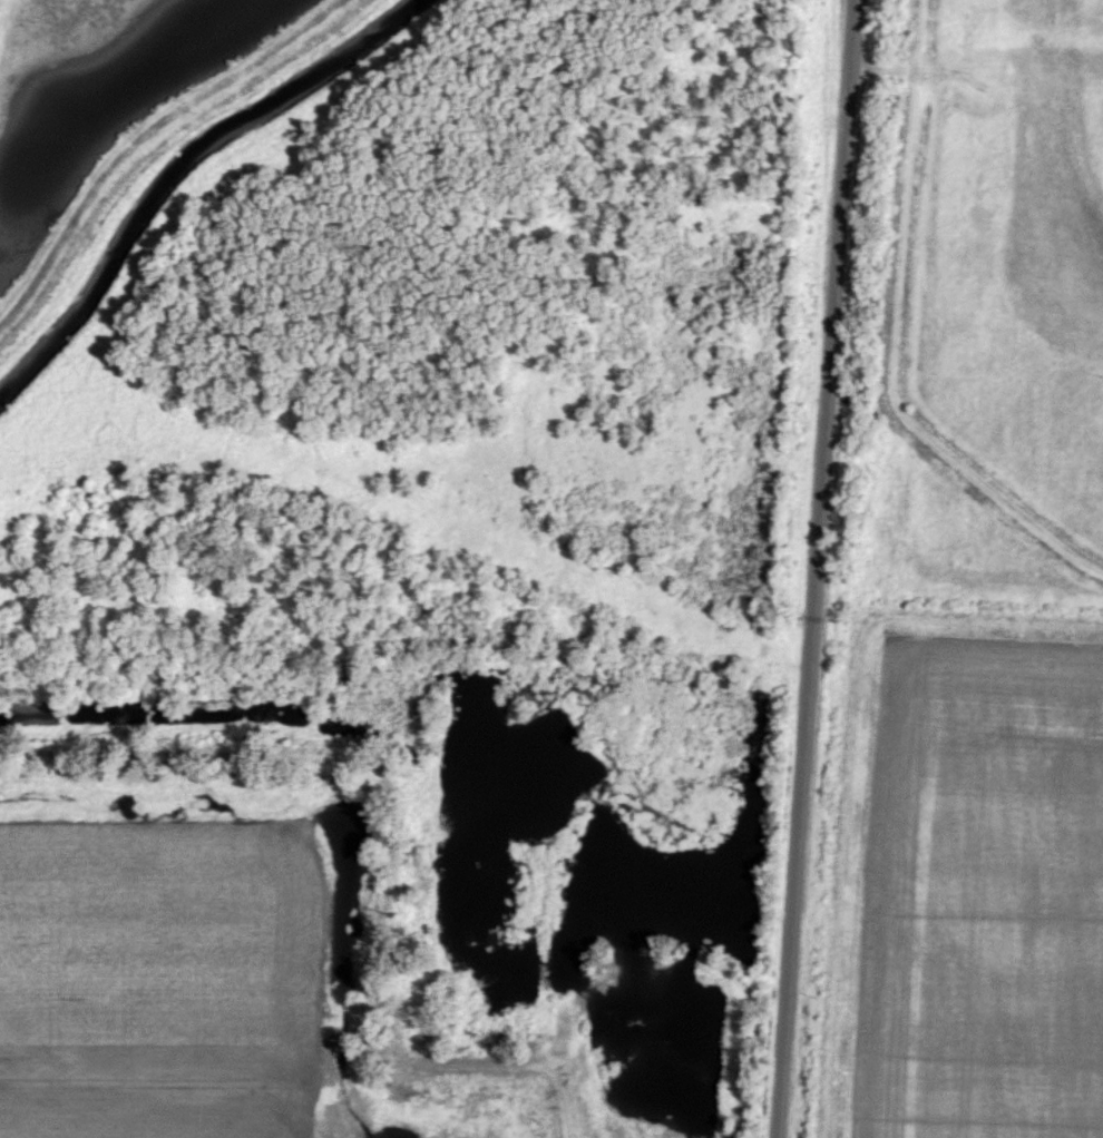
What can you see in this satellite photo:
road: (810, 569)

